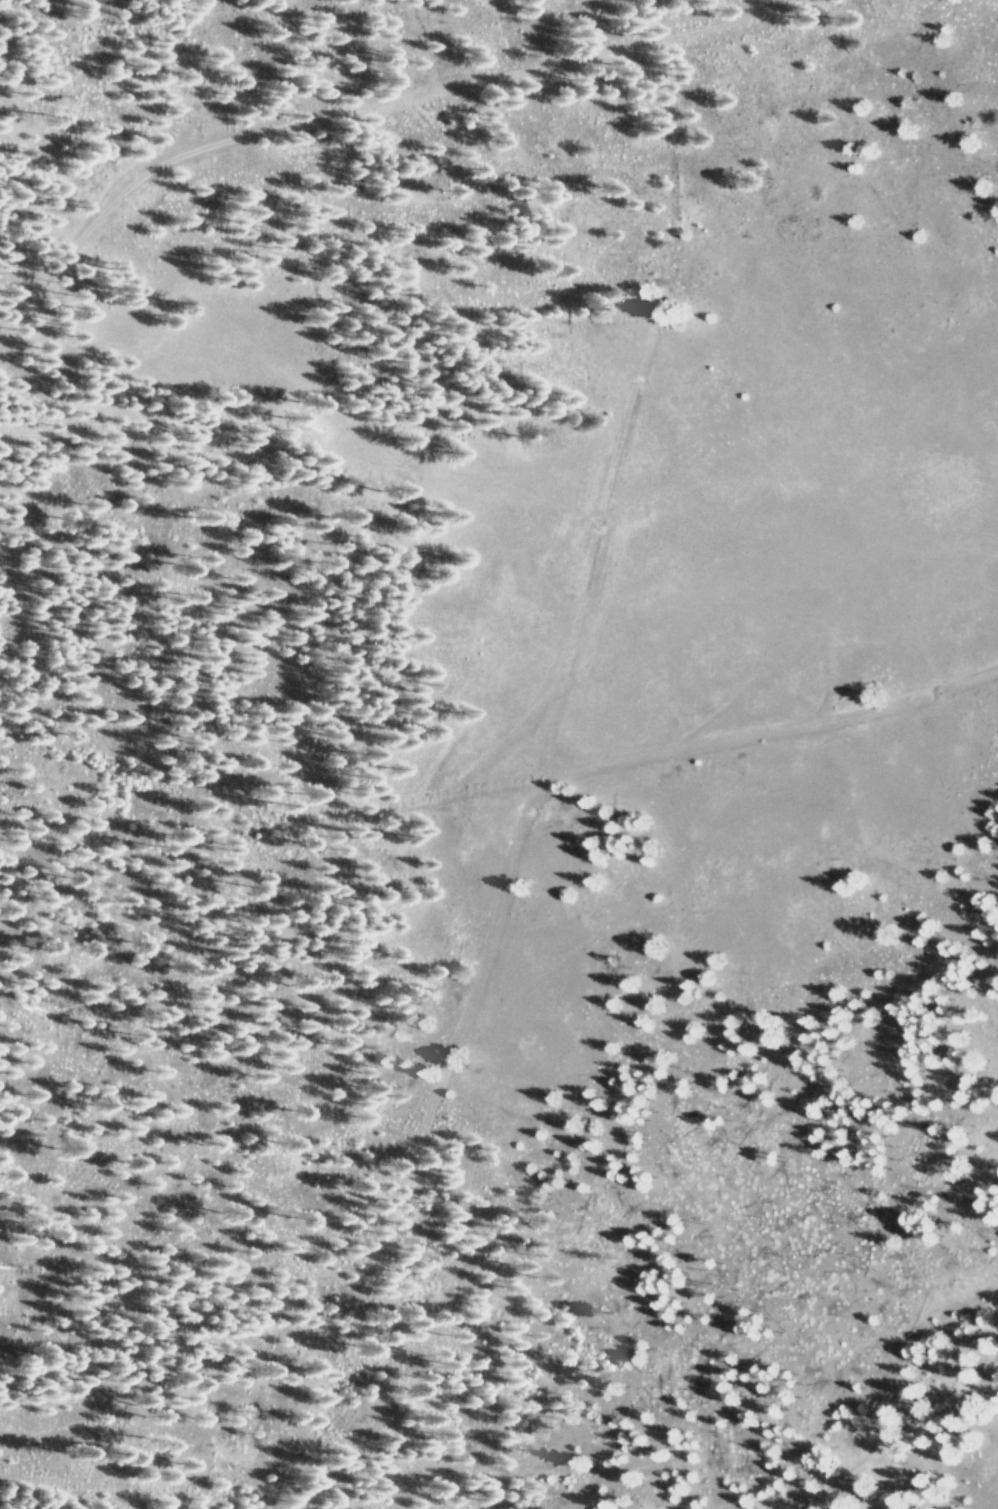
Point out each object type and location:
road: (499, 169)
road: (516, 754)

